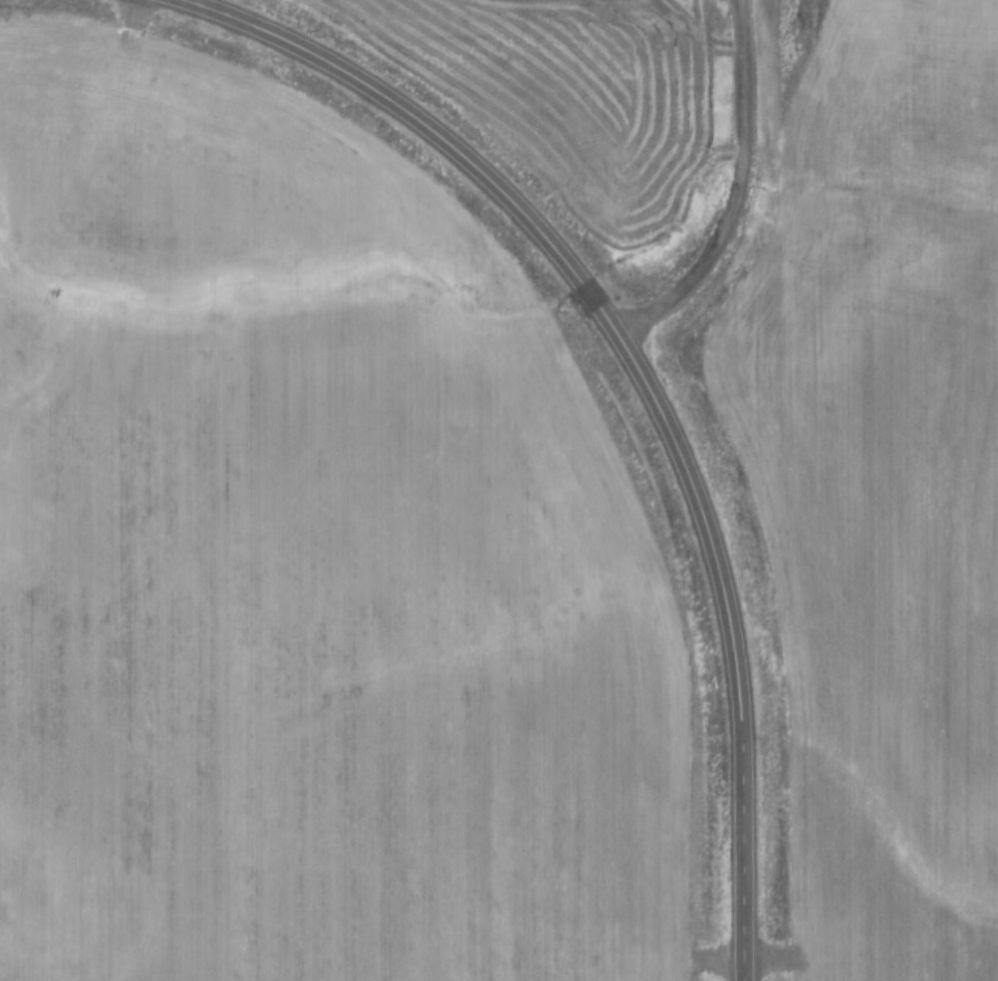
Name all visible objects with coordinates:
road: (742, 490)

